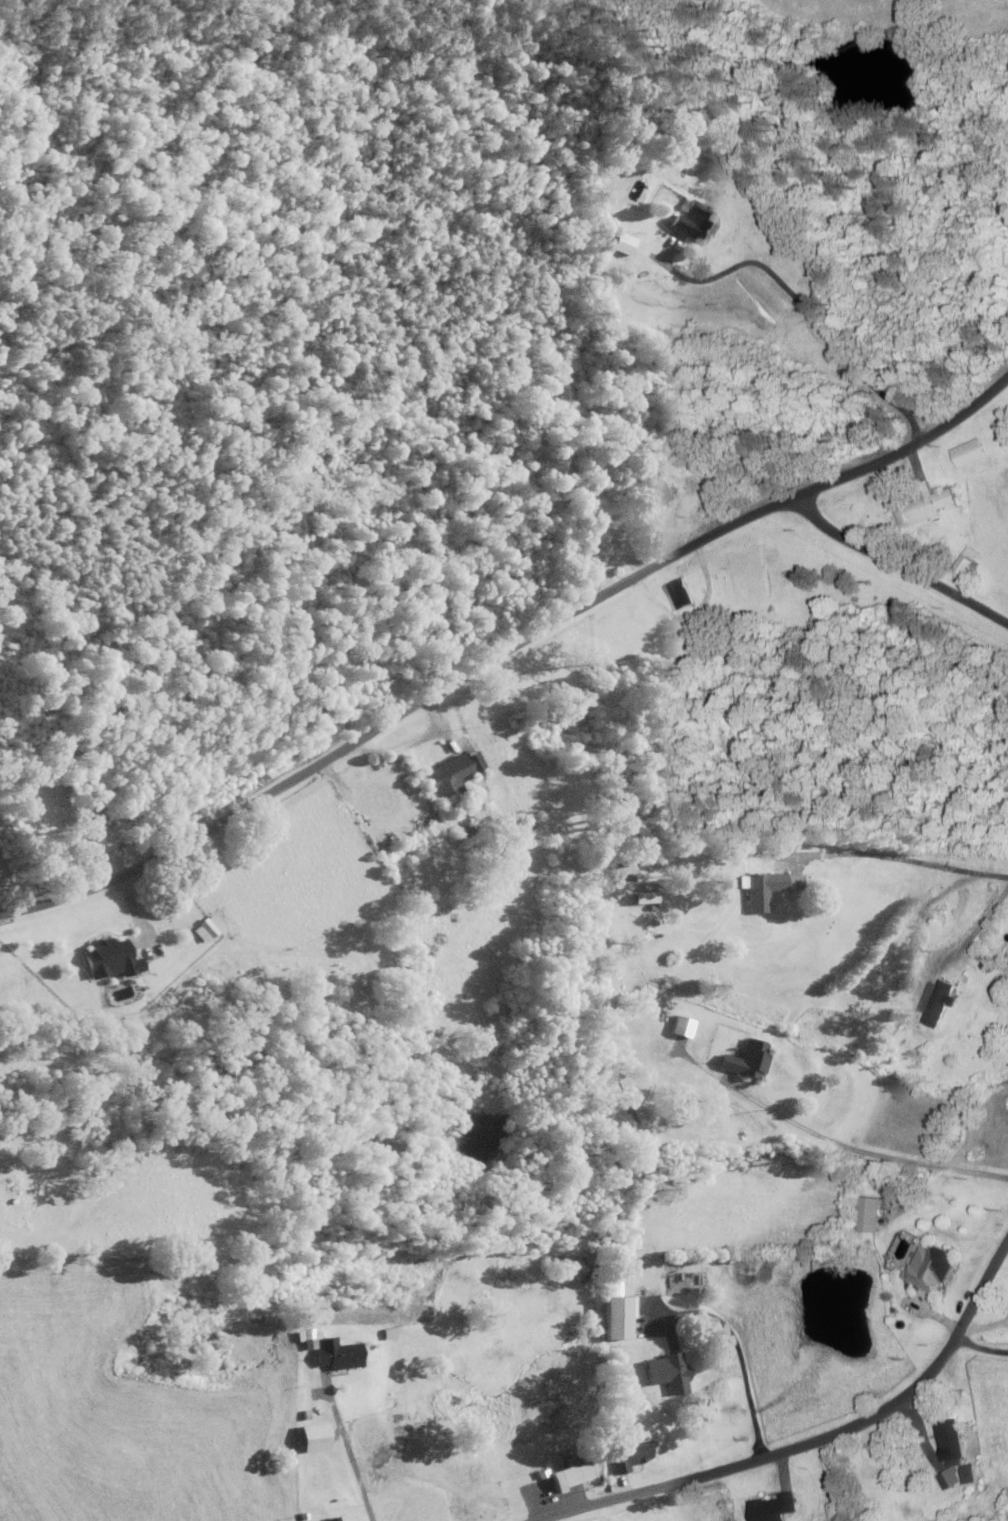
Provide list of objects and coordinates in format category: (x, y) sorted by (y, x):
building: (689, 222)
building: (966, 454)
building: (656, 490)
building: (921, 506)
building: (963, 565)
road: (895, 566)
building: (677, 595)
road: (506, 649)
building: (446, 777)
building: (618, 871)
road: (872, 871)
building: (765, 889)
building: (638, 899)
building: (203, 929)
building: (104, 960)
building: (933, 1003)
building: (743, 1062)
building: (865, 1216)
building: (927, 1270)
building: (607, 1285)
building: (611, 1319)
road: (979, 1350)
building: (332, 1358)
road: (741, 1369)
building: (664, 1373)
road: (809, 1443)
building: (946, 1443)
building: (623, 1453)
building: (567, 1475)
building: (965, 1475)
building: (944, 1480)
building: (767, 1509)
building: (427, 1518)
building: (330, 1519)

